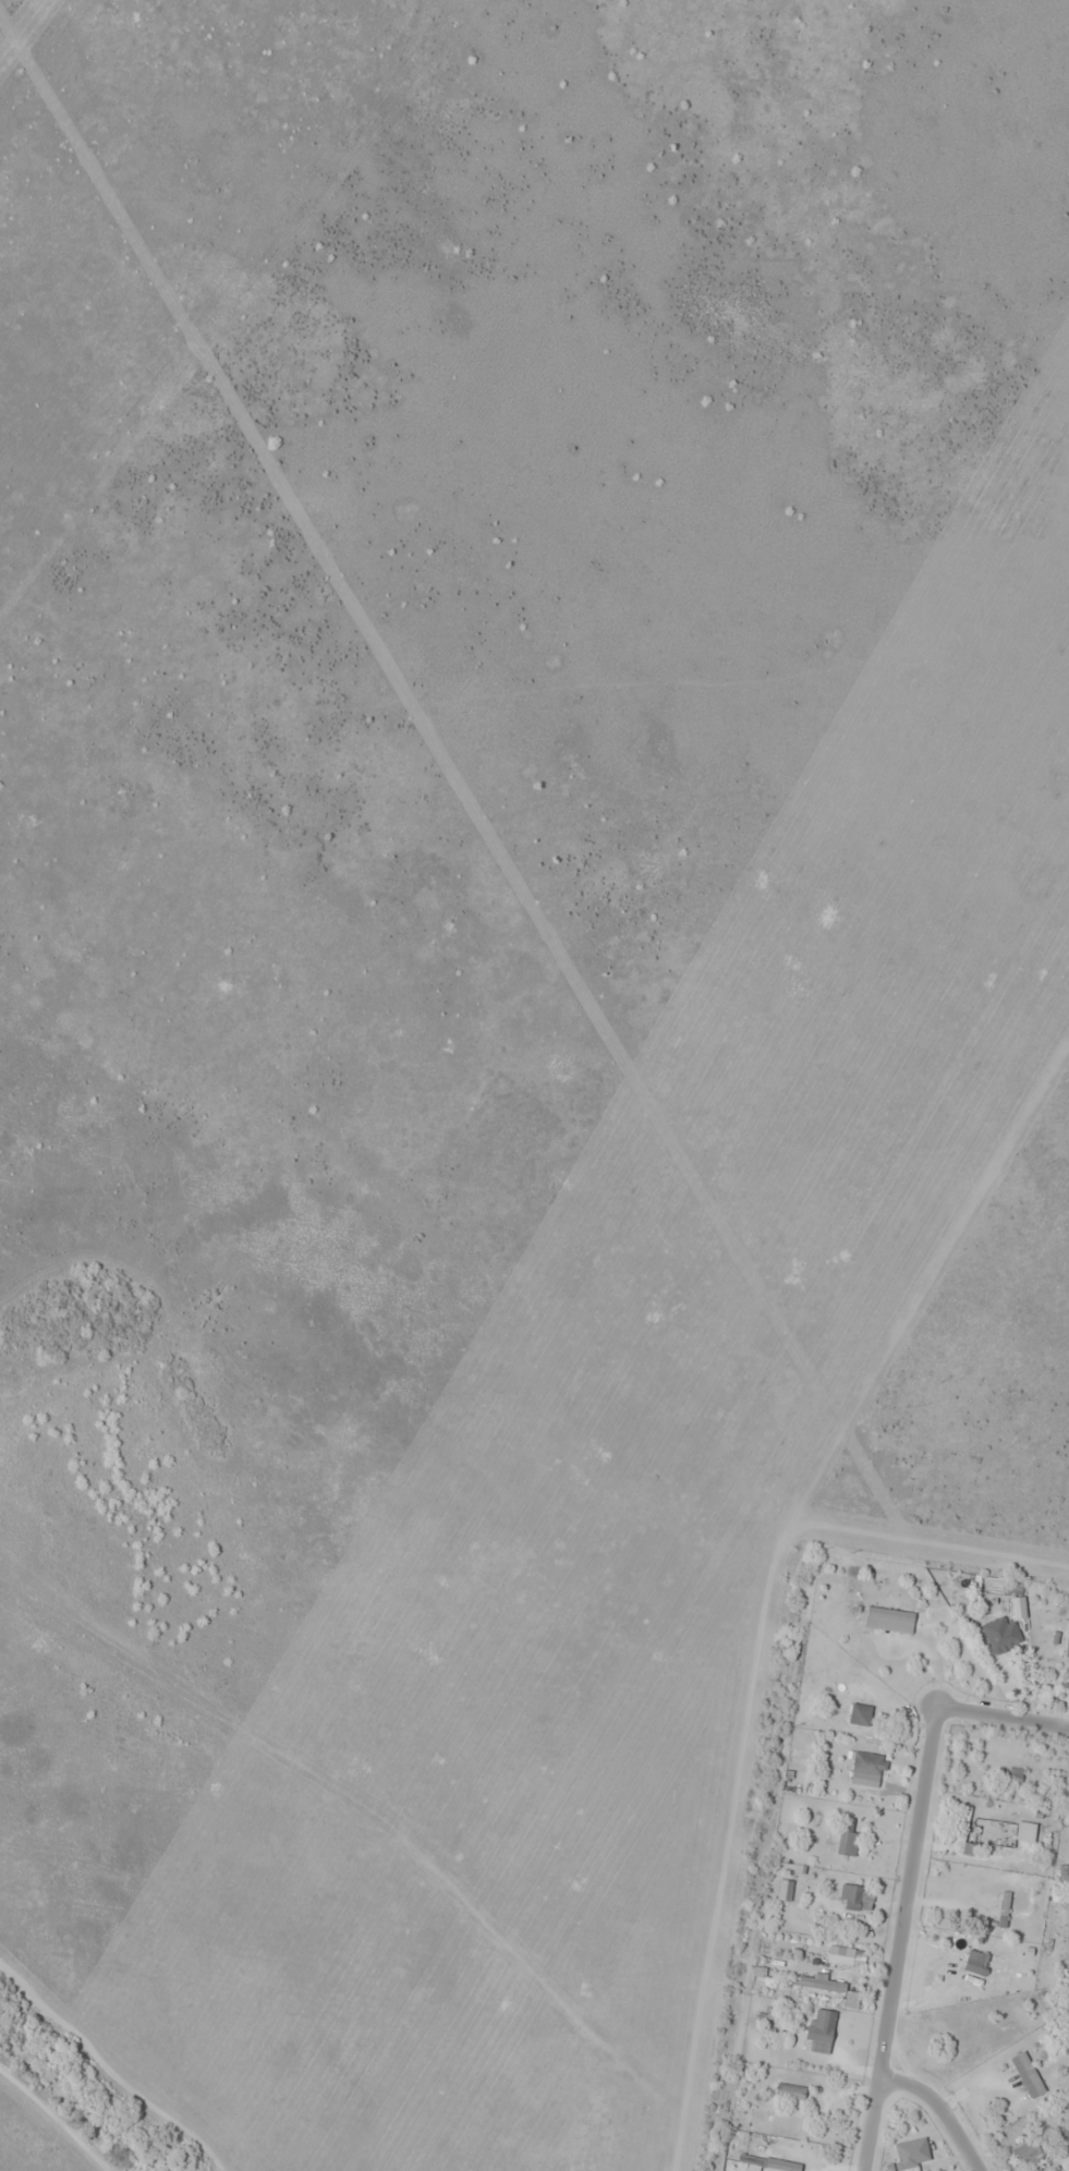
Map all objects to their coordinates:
building: (888, 1618)
building: (997, 1635)
building: (1067, 1646)
building: (859, 1713)
building: (866, 1769)
building: (1015, 1773)
building: (984, 1783)
building: (1024, 1831)
building: (963, 1833)
building: (847, 1839)
road: (912, 1872)
building: (785, 1890)
building: (855, 1897)
building: (1003, 1908)
building: (840, 1955)
building: (975, 1962)
building: (829, 1988)
building: (819, 2029)
building: (1027, 2073)
building: (789, 2090)
road: (942, 2110)
building: (1030, 2148)
building: (750, 2161)
building: (902, 2163)
building: (781, 2164)

